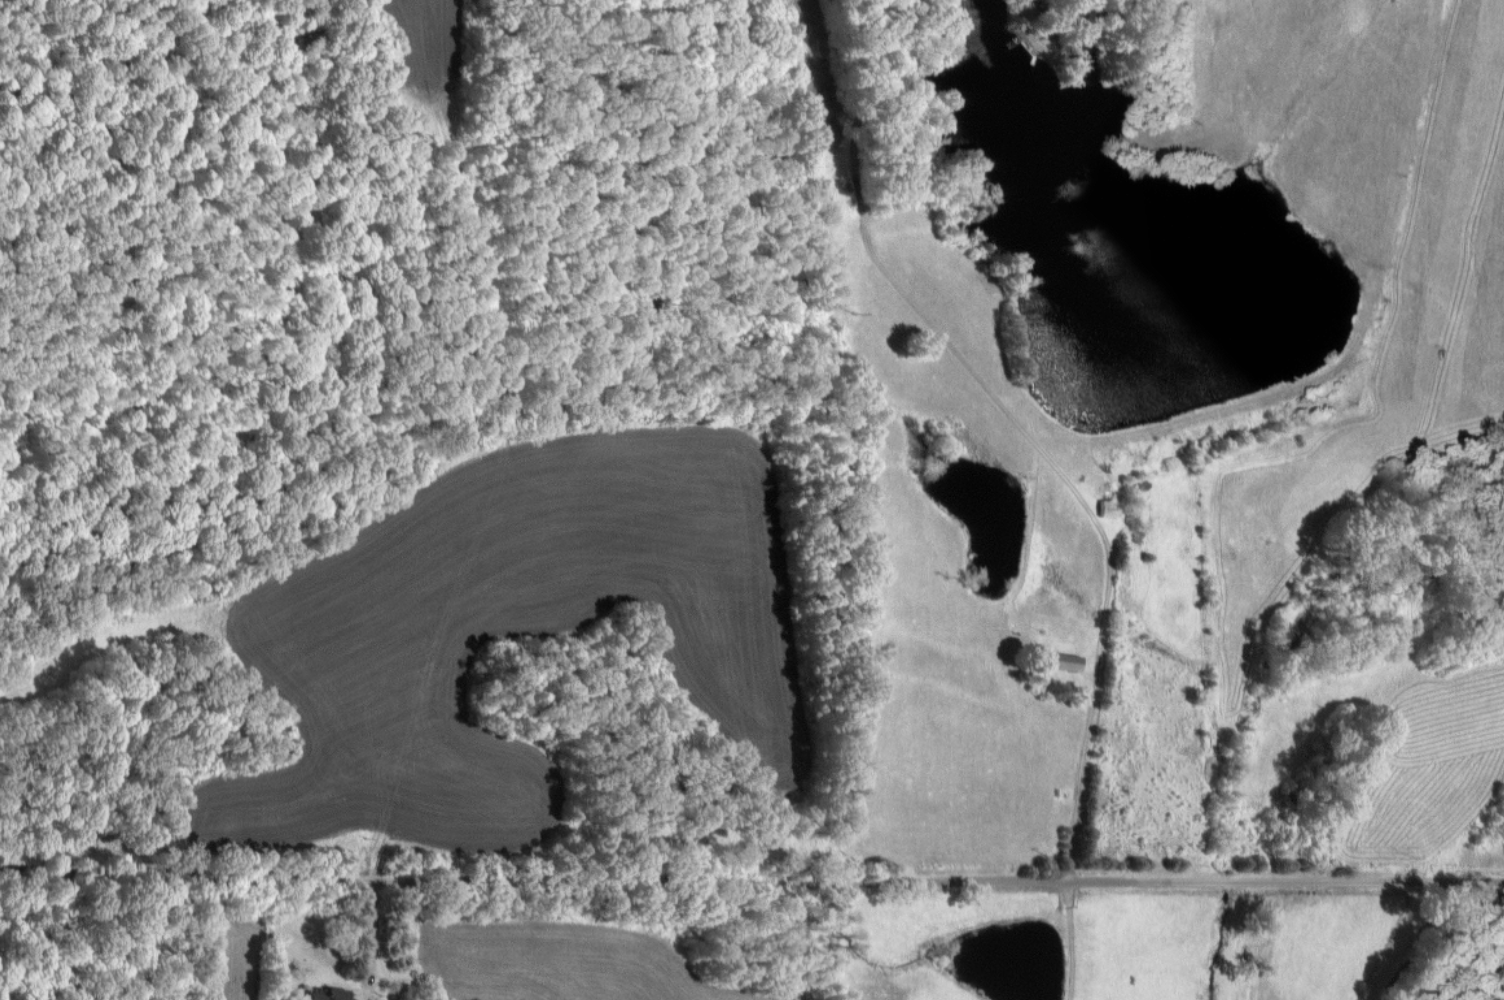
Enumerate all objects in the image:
building: (1061, 661)
road: (751, 878)
building: (326, 993)

